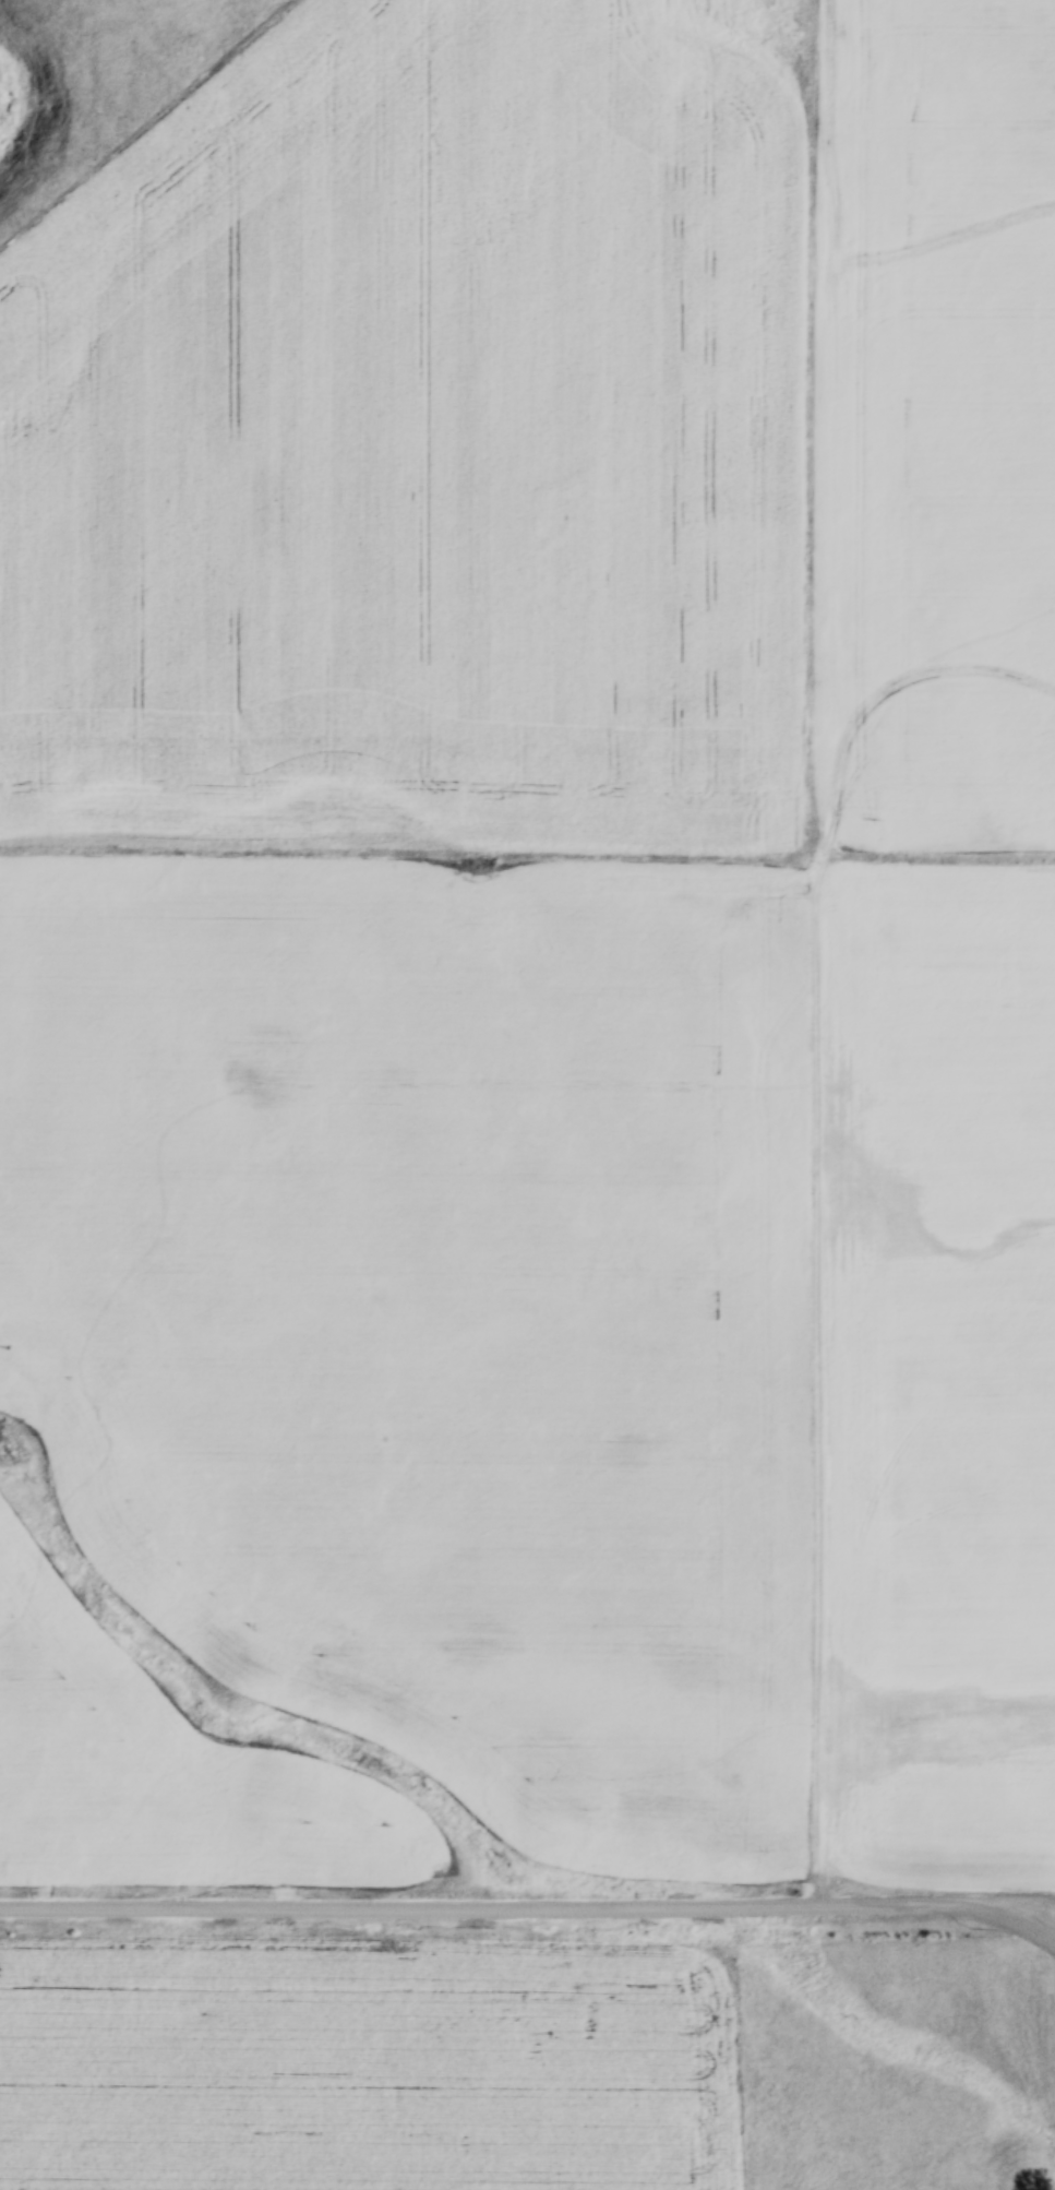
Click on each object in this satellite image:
road: (528, 1905)

